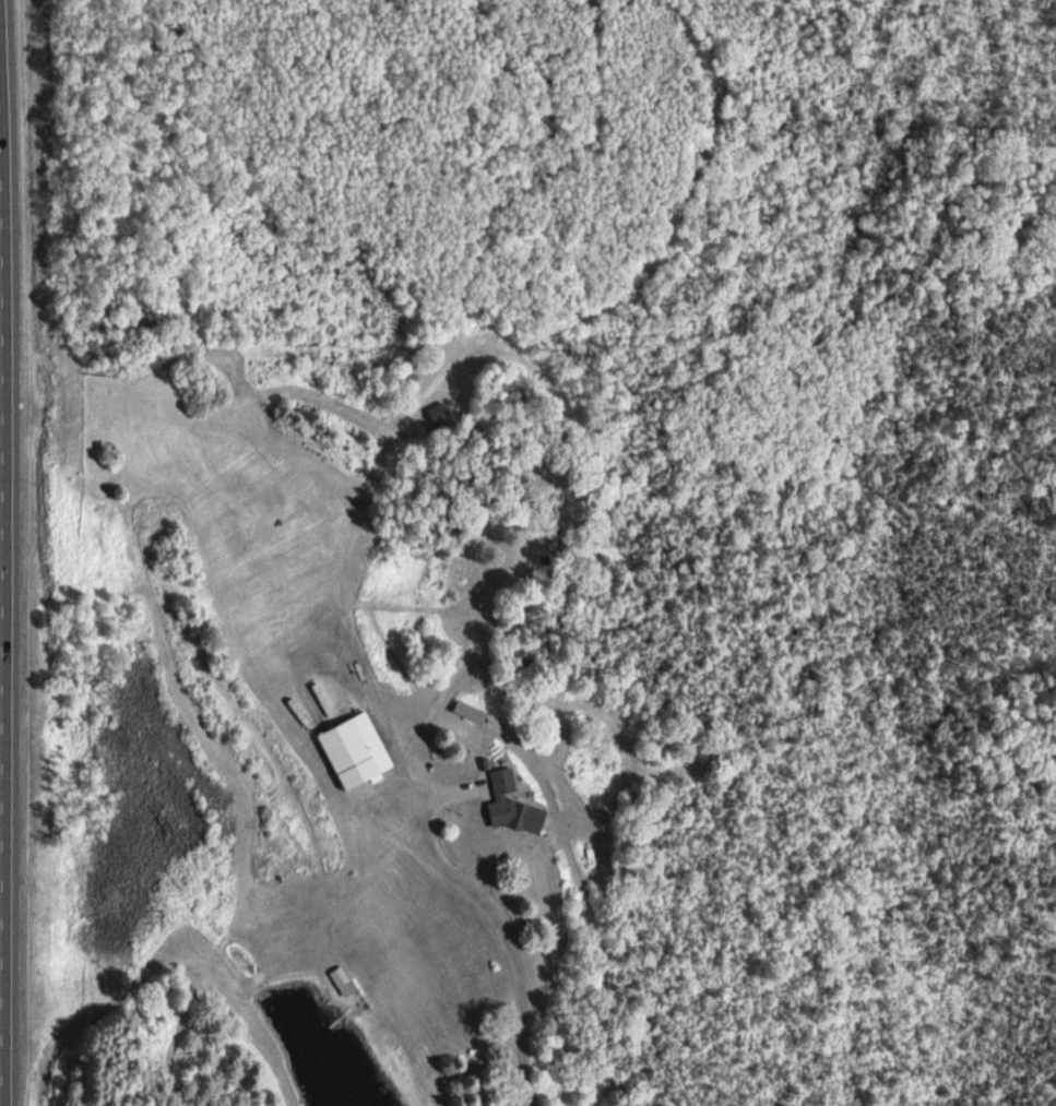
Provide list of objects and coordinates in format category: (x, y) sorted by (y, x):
road: (9, 607)
building: (363, 752)
building: (508, 797)
road: (501, 927)
building: (343, 983)

